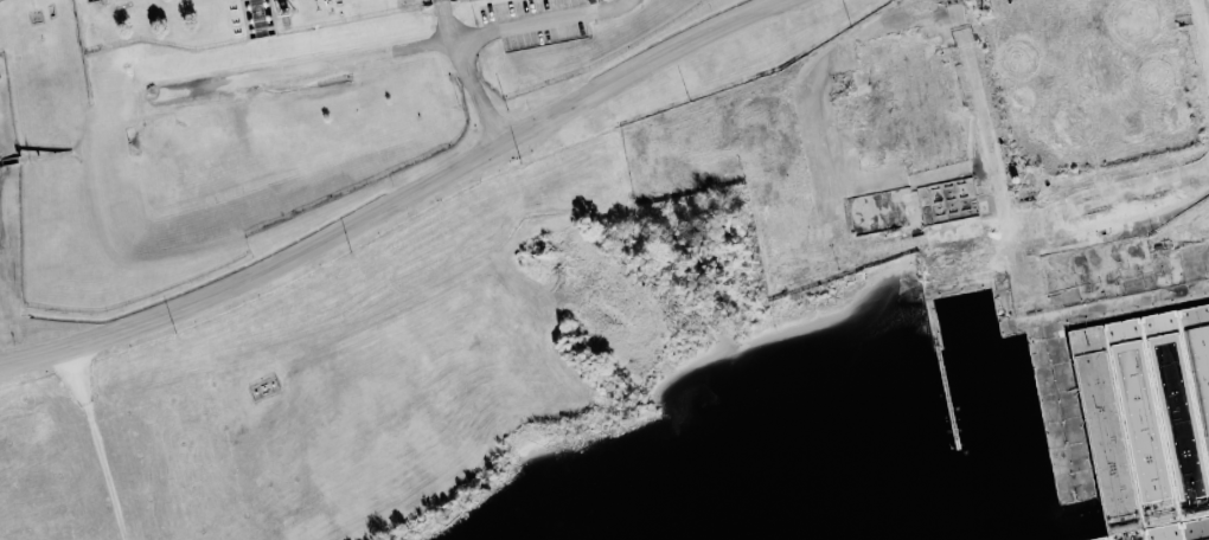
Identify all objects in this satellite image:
road: (639, 1)
road: (1201, 39)
road: (319, 69)
road: (469, 73)
road: (402, 195)
road: (1109, 230)
road: (1007, 247)
road: (1124, 306)
road: (95, 443)

